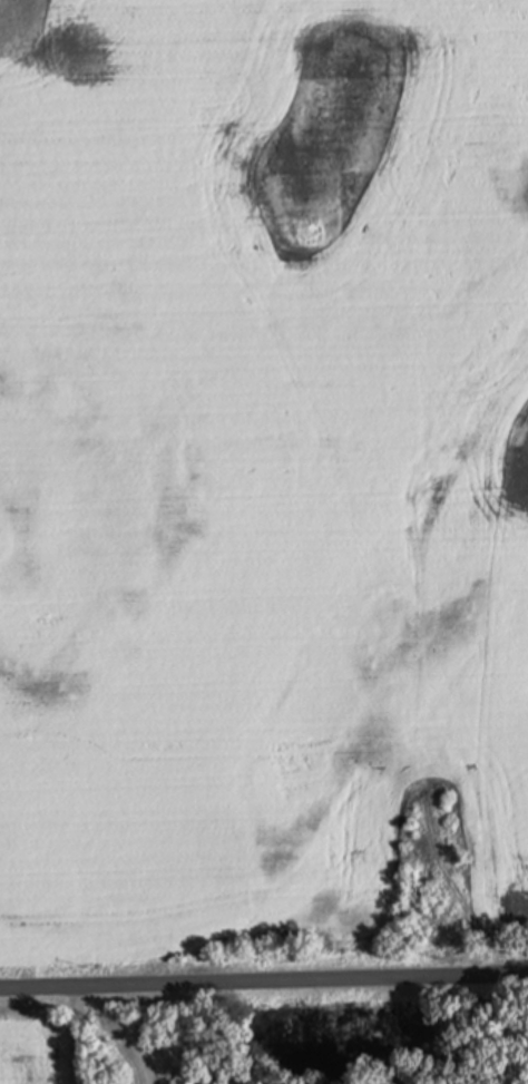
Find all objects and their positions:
road: (264, 977)

